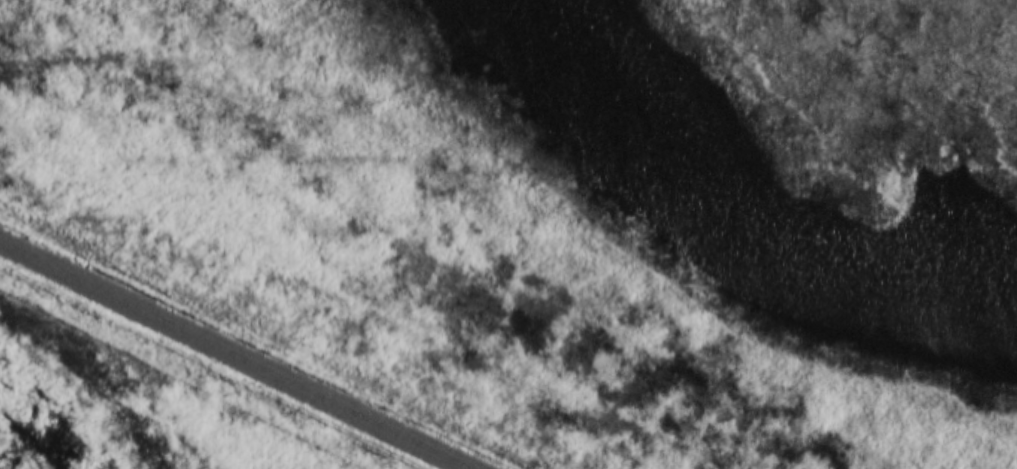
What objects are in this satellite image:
railway: (232, 356)
river: (22, 445)

